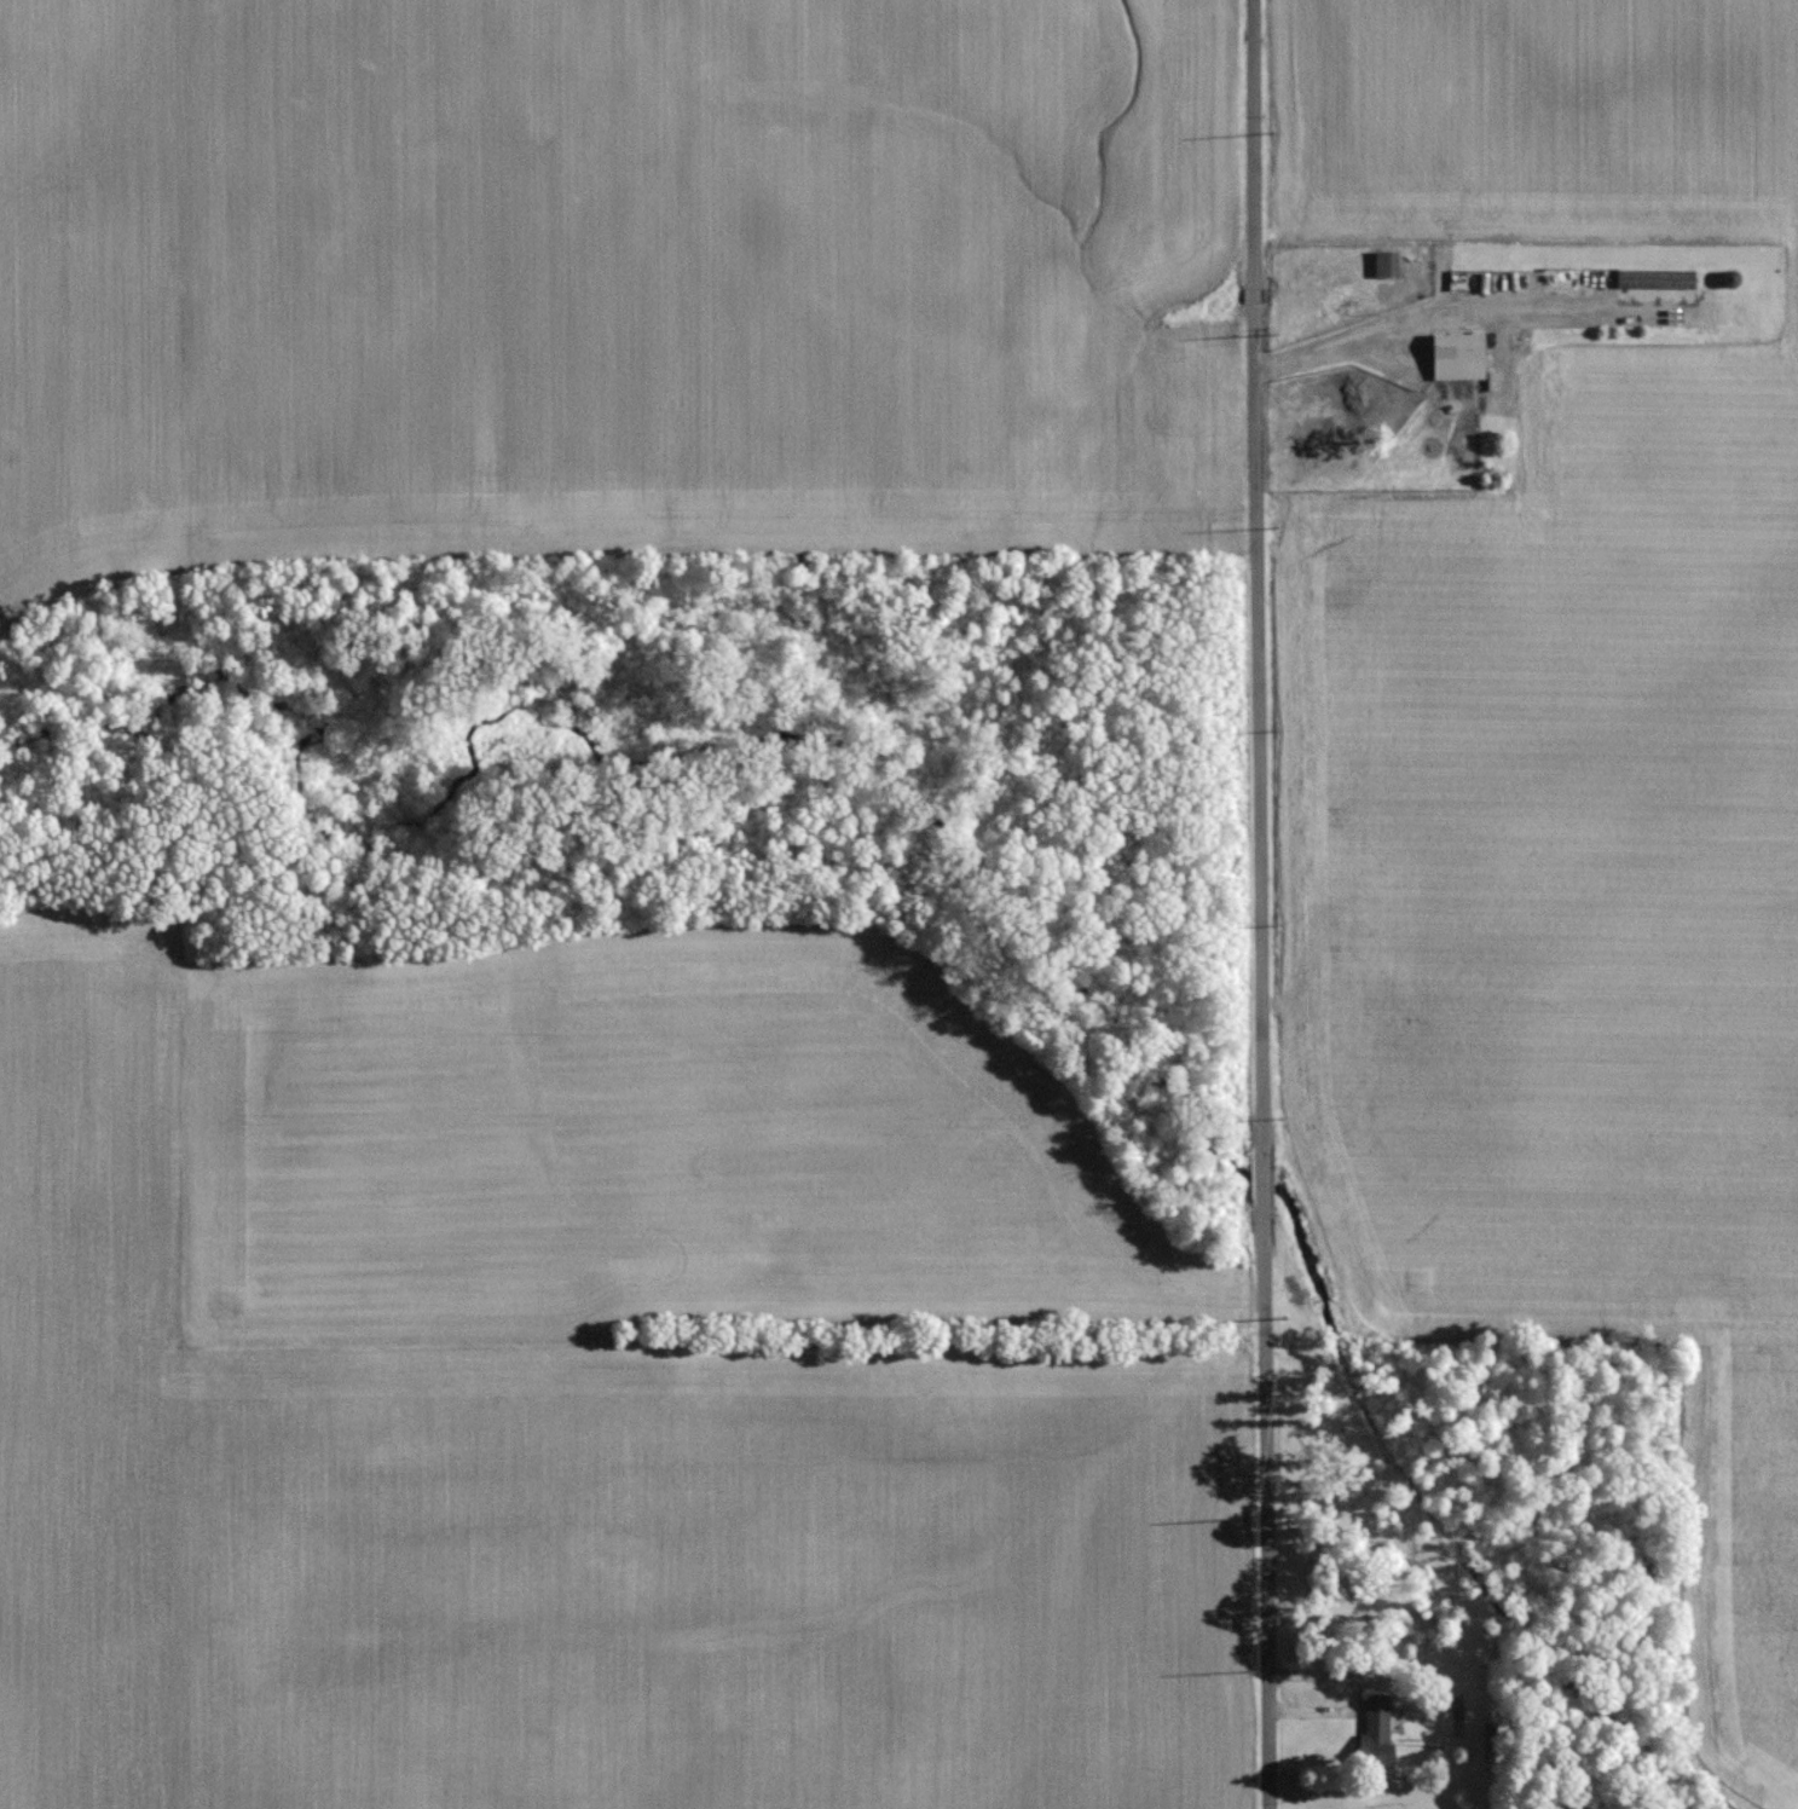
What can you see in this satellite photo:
building: (1386, 262)
building: (1655, 277)
building: (1730, 278)
building: (1458, 342)
road: (1261, 903)
building: (1376, 1729)

